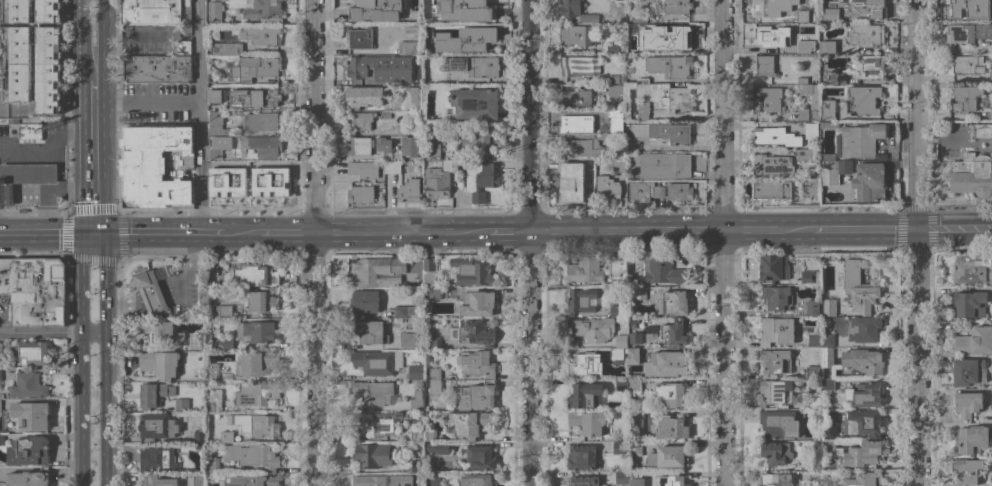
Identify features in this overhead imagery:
building: (964, 5)
building: (675, 6)
building: (570, 7)
building: (262, 8)
building: (767, 8)
building: (870, 8)
building: (376, 10)
building: (466, 10)
building: (156, 11)
building: (215, 11)
building: (830, 14)
building: (803, 15)
building: (990, 15)
building: (641, 16)
building: (589, 18)
building: (968, 32)
building: (213, 33)
building: (771, 33)
building: (262, 34)
building: (576, 34)
building: (867, 34)
building: (360, 38)
building: (666, 38)
building: (468, 39)
road: (105, 40)
road: (81, 41)
building: (183, 46)
building: (410, 46)
building: (805, 46)
building: (827, 46)
building: (227, 48)
building: (613, 48)
building: (17, 55)
building: (968, 63)
building: (577, 64)
building: (476, 65)
building: (670, 65)
building: (764, 65)
building: (872, 66)
building: (256, 67)
building: (381, 68)
building: (158, 69)
building: (991, 76)
building: (837, 77)
building: (211, 78)
building: (614, 78)
building: (806, 79)
building: (643, 80)
building: (616, 91)
road: (96, 96)
building: (216, 96)
building: (364, 96)
building: (253, 97)
building: (412, 97)
building: (964, 97)
building: (576, 98)
building: (678, 99)
building: (767, 99)
building: (865, 99)
building: (815, 100)
road: (147, 102)
building: (474, 102)
building: (828, 109)
building: (642, 111)
building: (613, 112)
building: (991, 113)
building: (387, 114)
road: (917, 114)
road: (724, 115)
road: (198, 116)
road: (316, 116)
road: (532, 116)
building: (361, 120)
building: (261, 121)
building: (576, 122)
building: (830, 123)
building: (217, 124)
building: (26, 128)
building: (811, 129)
building: (983, 130)
building: (662, 131)
building: (477, 135)
building: (776, 136)
building: (859, 139)
road: (941, 139)
building: (383, 144)
building: (220, 145)
building: (359, 145)
building: (411, 145)
building: (261, 147)
building: (582, 147)
road: (54, 150)
building: (433, 150)
building: (803, 153)
road: (351, 156)
building: (587, 162)
building: (286, 164)
building: (621, 164)
building: (772, 164)
building: (411, 165)
building: (665, 165)
building: (395, 166)
building: (362, 169)
building: (834, 170)
building: (28, 173)
road: (96, 174)
building: (973, 174)
building: (482, 178)
building: (440, 179)
building: (226, 181)
building: (269, 181)
building: (870, 181)
building: (572, 185)
building: (608, 187)
building: (811, 187)
building: (772, 188)
road: (52, 190)
road: (78, 190)
building: (409, 190)
building: (646, 190)
building: (680, 191)
building: (360, 193)
road: (861, 228)
traffic signals: (918, 228)
road: (955, 228)
road: (764, 229)
road: (698, 230)
road: (603, 231)
road: (400, 232)
road: (508, 232)
road: (168, 233)
road: (280, 233)
road: (47, 234)
traffic signals: (95, 234)
building: (619, 268)
building: (968, 268)
building: (585, 269)
building: (773, 269)
building: (377, 270)
building: (663, 270)
building: (429, 271)
building: (472, 271)
building: (991, 272)
building: (250, 274)
building: (810, 276)
building: (860, 286)
building: (152, 288)
building: (36, 290)
building: (435, 293)
building: (777, 297)
building: (365, 300)
building: (581, 300)
building: (261, 301)
building: (674, 302)
building: (478, 303)
building: (971, 303)
building: (829, 306)
building: (813, 307)
building: (405, 310)
building: (614, 310)
building: (225, 311)
building: (864, 328)
building: (590, 329)
road: (96, 330)
building: (777, 330)
building: (257, 331)
building: (371, 331)
building: (162, 332)
building: (675, 332)
building: (473, 333)
road: (41, 334)
building: (409, 337)
building: (635, 337)
building: (814, 339)
building: (828, 339)
building: (621, 340)
building: (975, 340)
building: (225, 342)
building: (434, 342)
building: (198, 343)
building: (1, 347)
building: (32, 353)
building: (617, 353)
road: (110, 356)
building: (634, 356)
road: (83, 357)
building: (828, 357)
road: (917, 357)
road: (726, 358)
road: (318, 359)
road: (534, 359)
building: (776, 360)
building: (864, 360)
building: (378, 361)
building: (256, 362)
building: (160, 363)
building: (477, 363)
building: (666, 363)
building: (583, 364)
building: (212, 371)
building: (415, 371)
building: (815, 371)
building: (969, 371)
building: (434, 374)
building: (0, 377)
building: (829, 383)
building: (28, 385)
building: (426, 385)
building: (621, 385)
building: (635, 385)
building: (435, 386)
building: (374, 392)
building: (778, 392)
building: (257, 393)
building: (154, 394)
building: (480, 394)
building: (672, 394)
building: (865, 394)
building: (586, 395)
building: (415, 401)
building: (814, 402)
building: (968, 403)
building: (182, 404)
building: (0, 405)
building: (212, 405)
building: (28, 416)
building: (637, 418)
building: (867, 421)
building: (378, 422)
building: (588, 422)
building: (470, 423)
building: (779, 423)
building: (265, 425)
building: (157, 426)
building: (672, 428)
building: (829, 430)
building: (417, 435)
building: (429, 435)
building: (200, 436)
building: (227, 436)
building: (972, 438)
building: (2, 439)
building: (200, 445)
building: (438, 447)
building: (620, 447)
building: (635, 448)
building: (29, 450)
building: (776, 452)
building: (857, 453)
building: (372, 454)
building: (254, 456)
building: (482, 456)
building: (668, 456)
building: (581, 457)
building: (160, 458)
building: (808, 463)
building: (213, 465)
building: (413, 465)
building: (968, 471)
building: (29, 478)
building: (621, 478)
building: (862, 478)
building: (199, 479)
building: (477, 479)
building: (635, 479)
building: (777, 479)
building: (253, 480)
building: (382, 480)
building: (432, 480)
building: (673, 480)
building: (158, 481)
building: (584, 481)
building: (2, 483)
building: (811, 484)
building: (828, 484)

